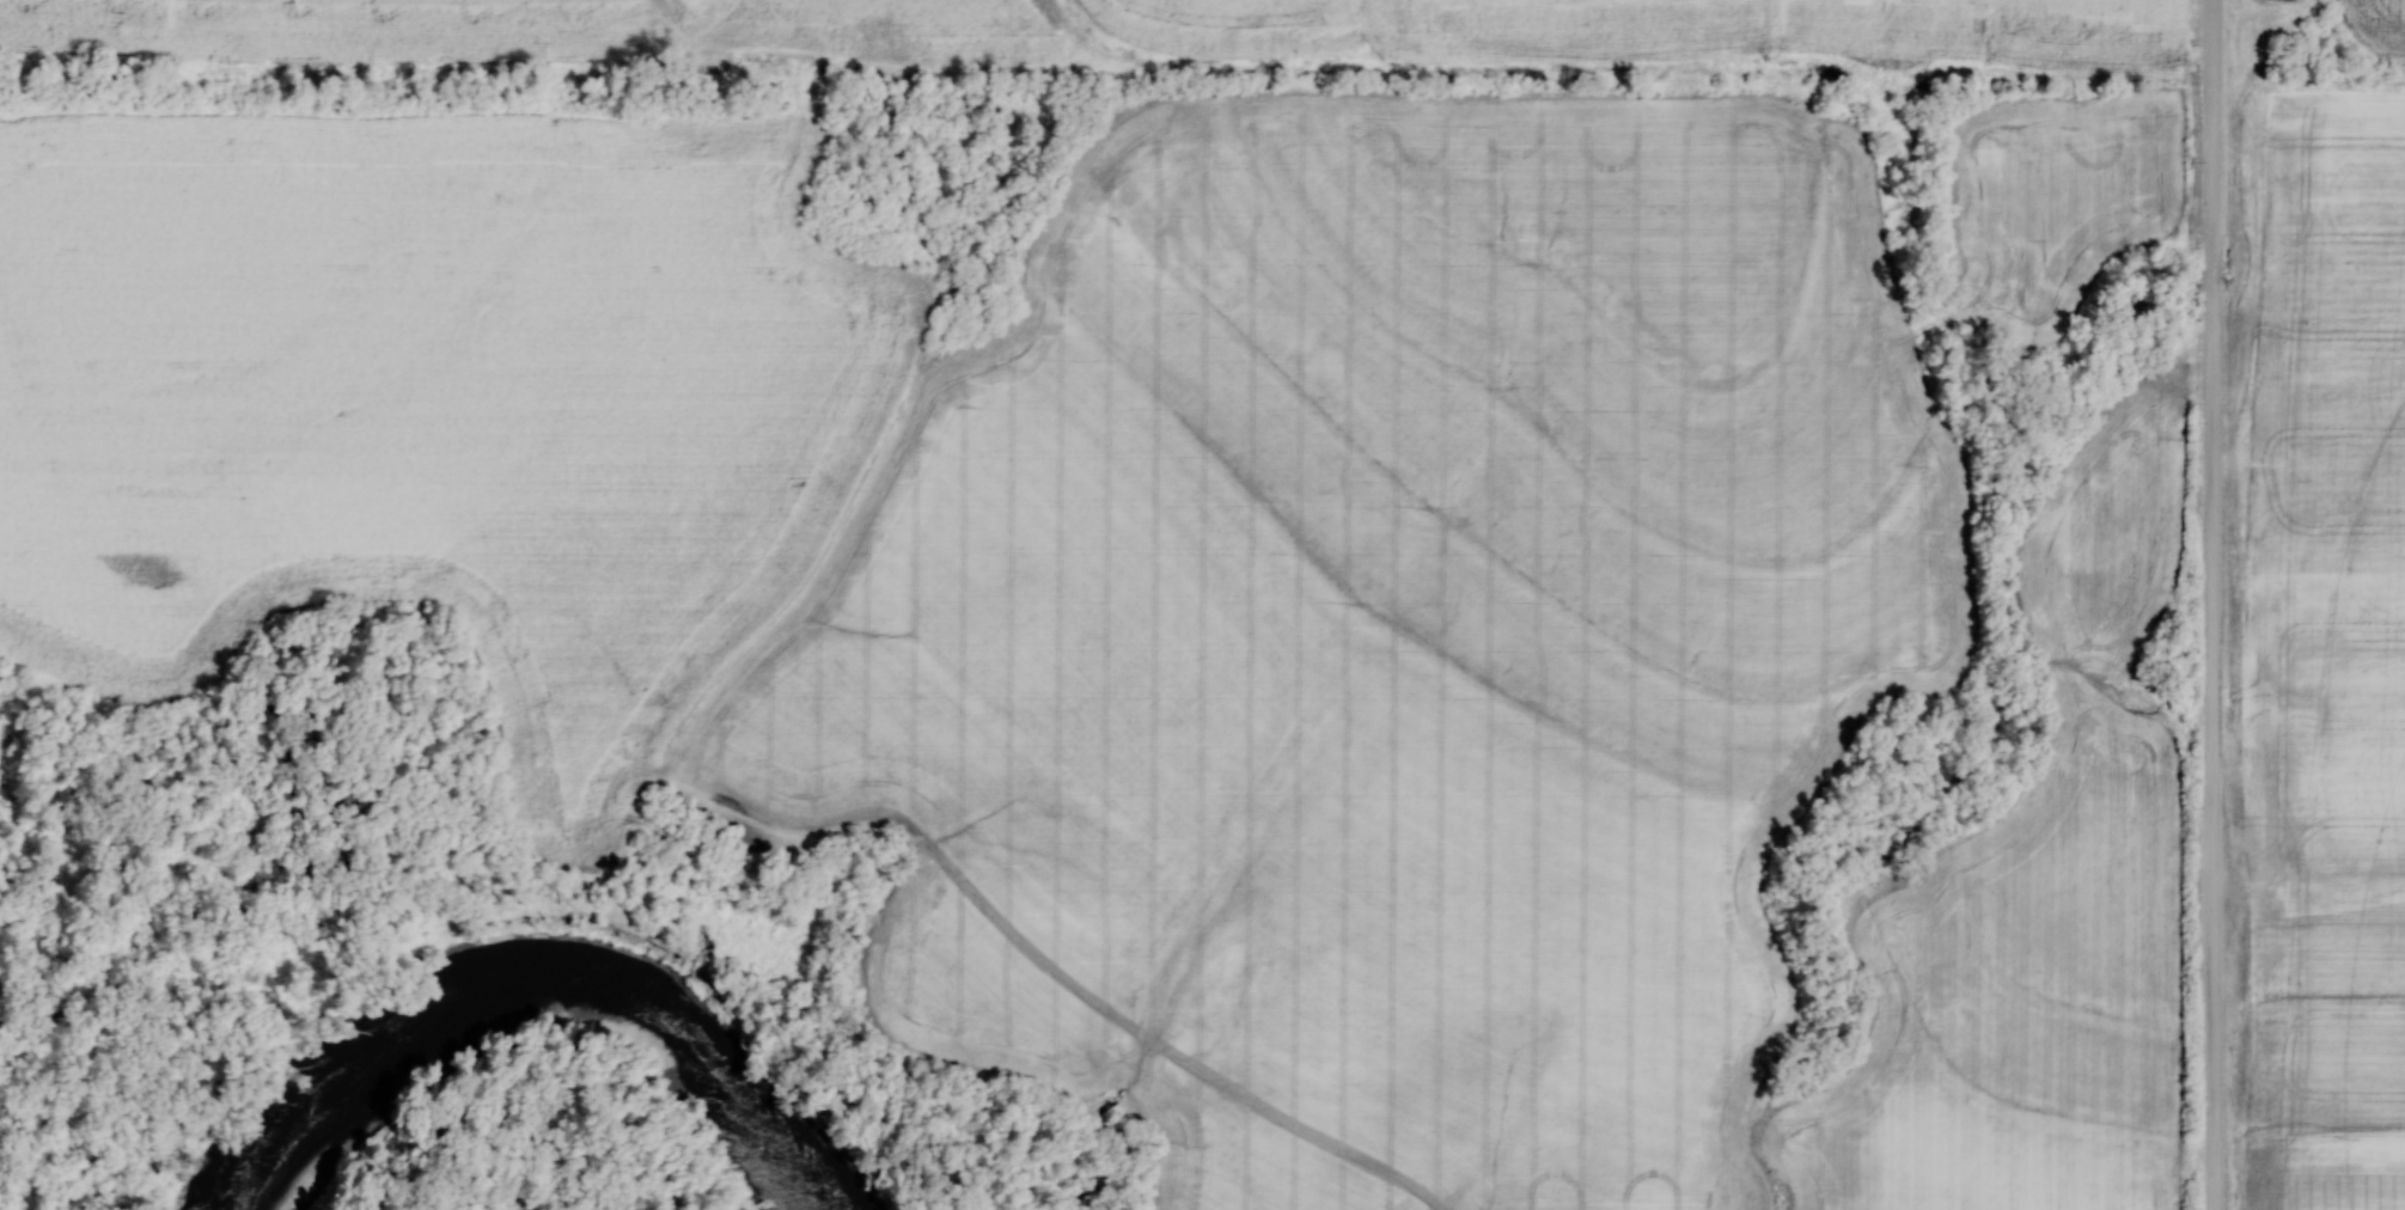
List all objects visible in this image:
road: (2216, 605)
river: (548, 994)

